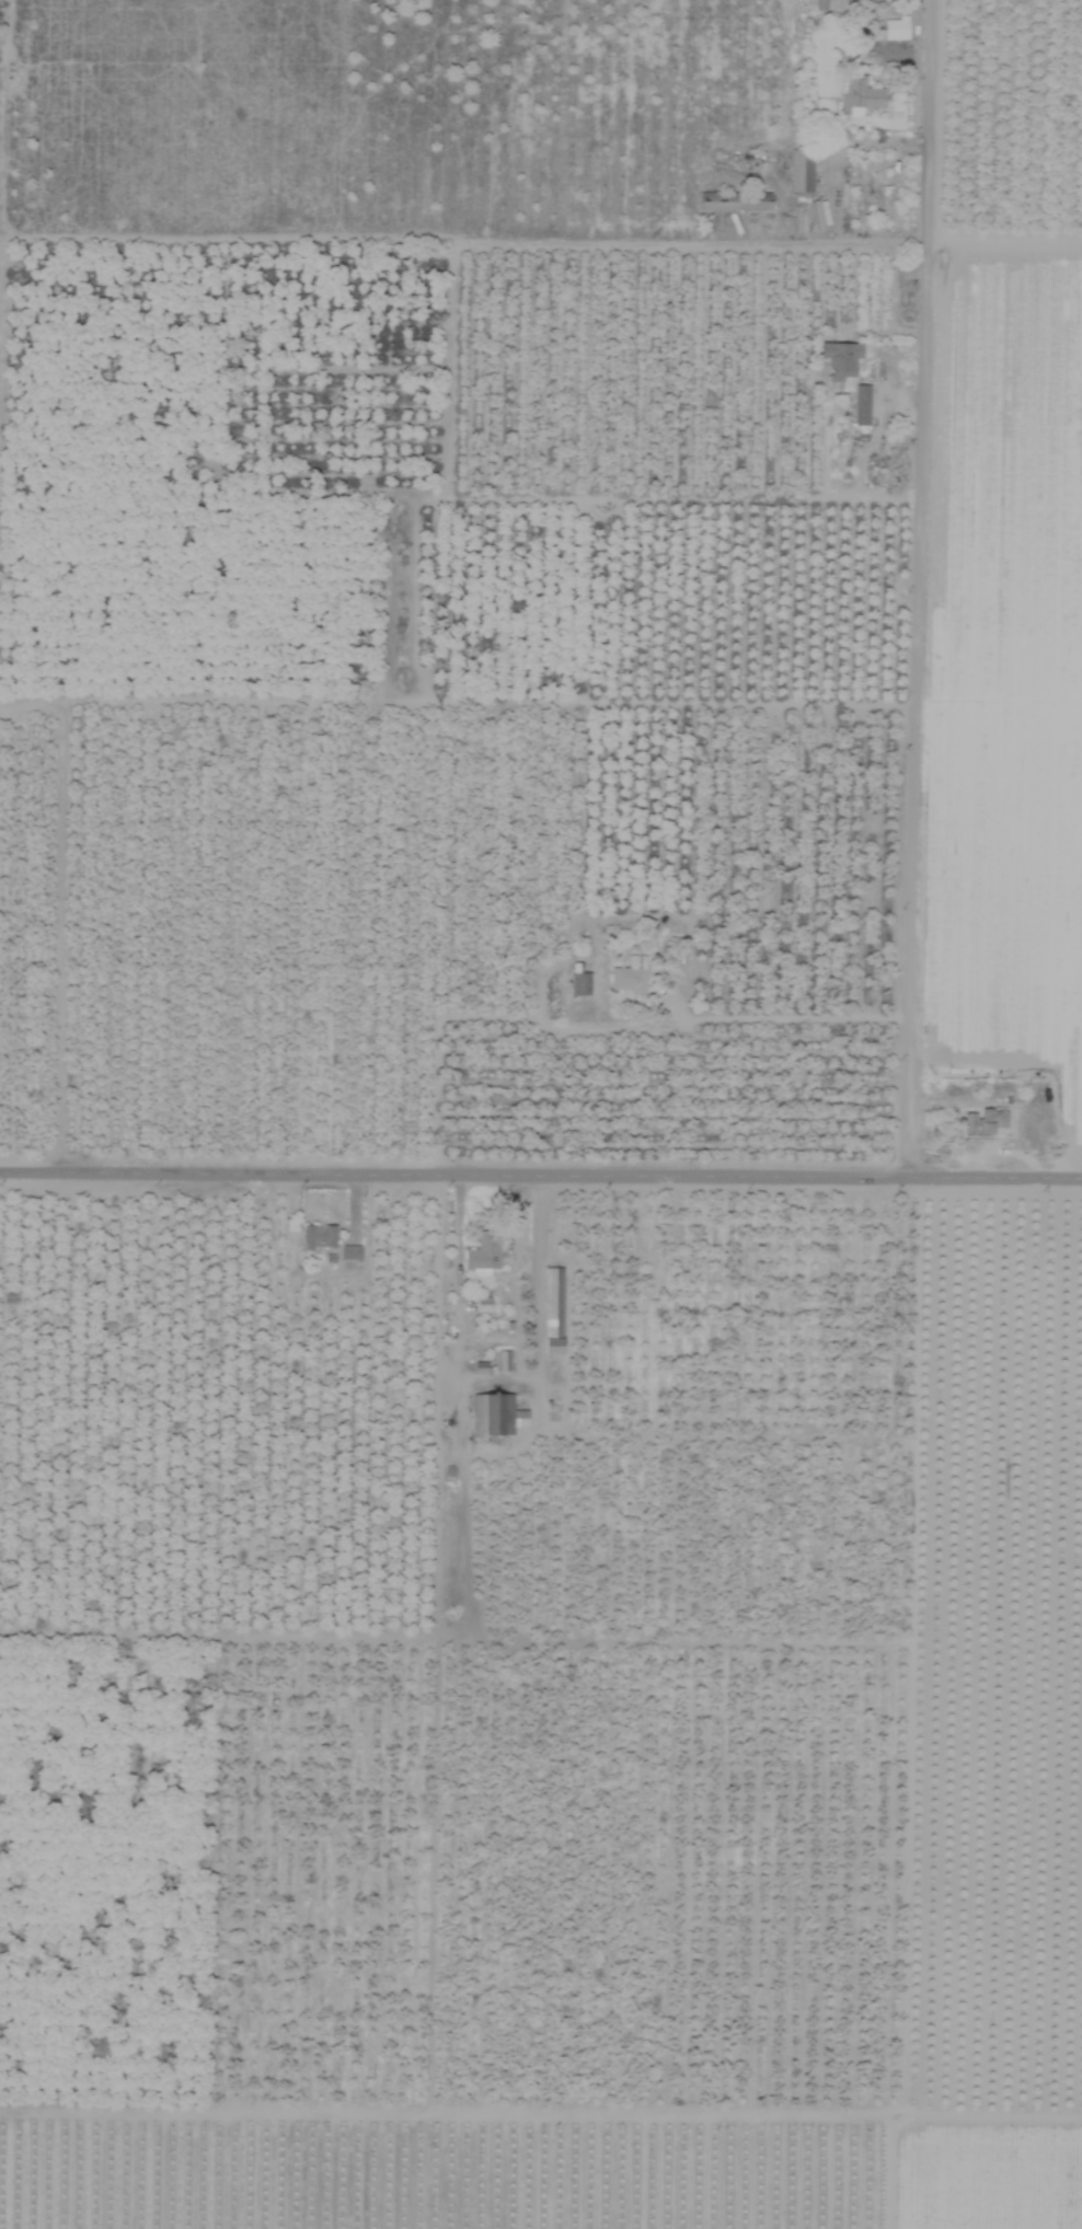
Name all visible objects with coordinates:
building: (820, 4)
building: (895, 30)
building: (861, 95)
building: (801, 171)
building: (734, 203)
building: (840, 359)
building: (861, 405)
road: (917, 586)
building: (630, 975)
building: (580, 984)
road: (596, 1021)
crop: (541, 1114)
building: (983, 1122)
road: (540, 1170)
building: (318, 1237)
building: (350, 1252)
building: (483, 1254)
road: (538, 1279)
road: (458, 1298)
building: (483, 1304)
building: (553, 1312)
building: (496, 1414)

